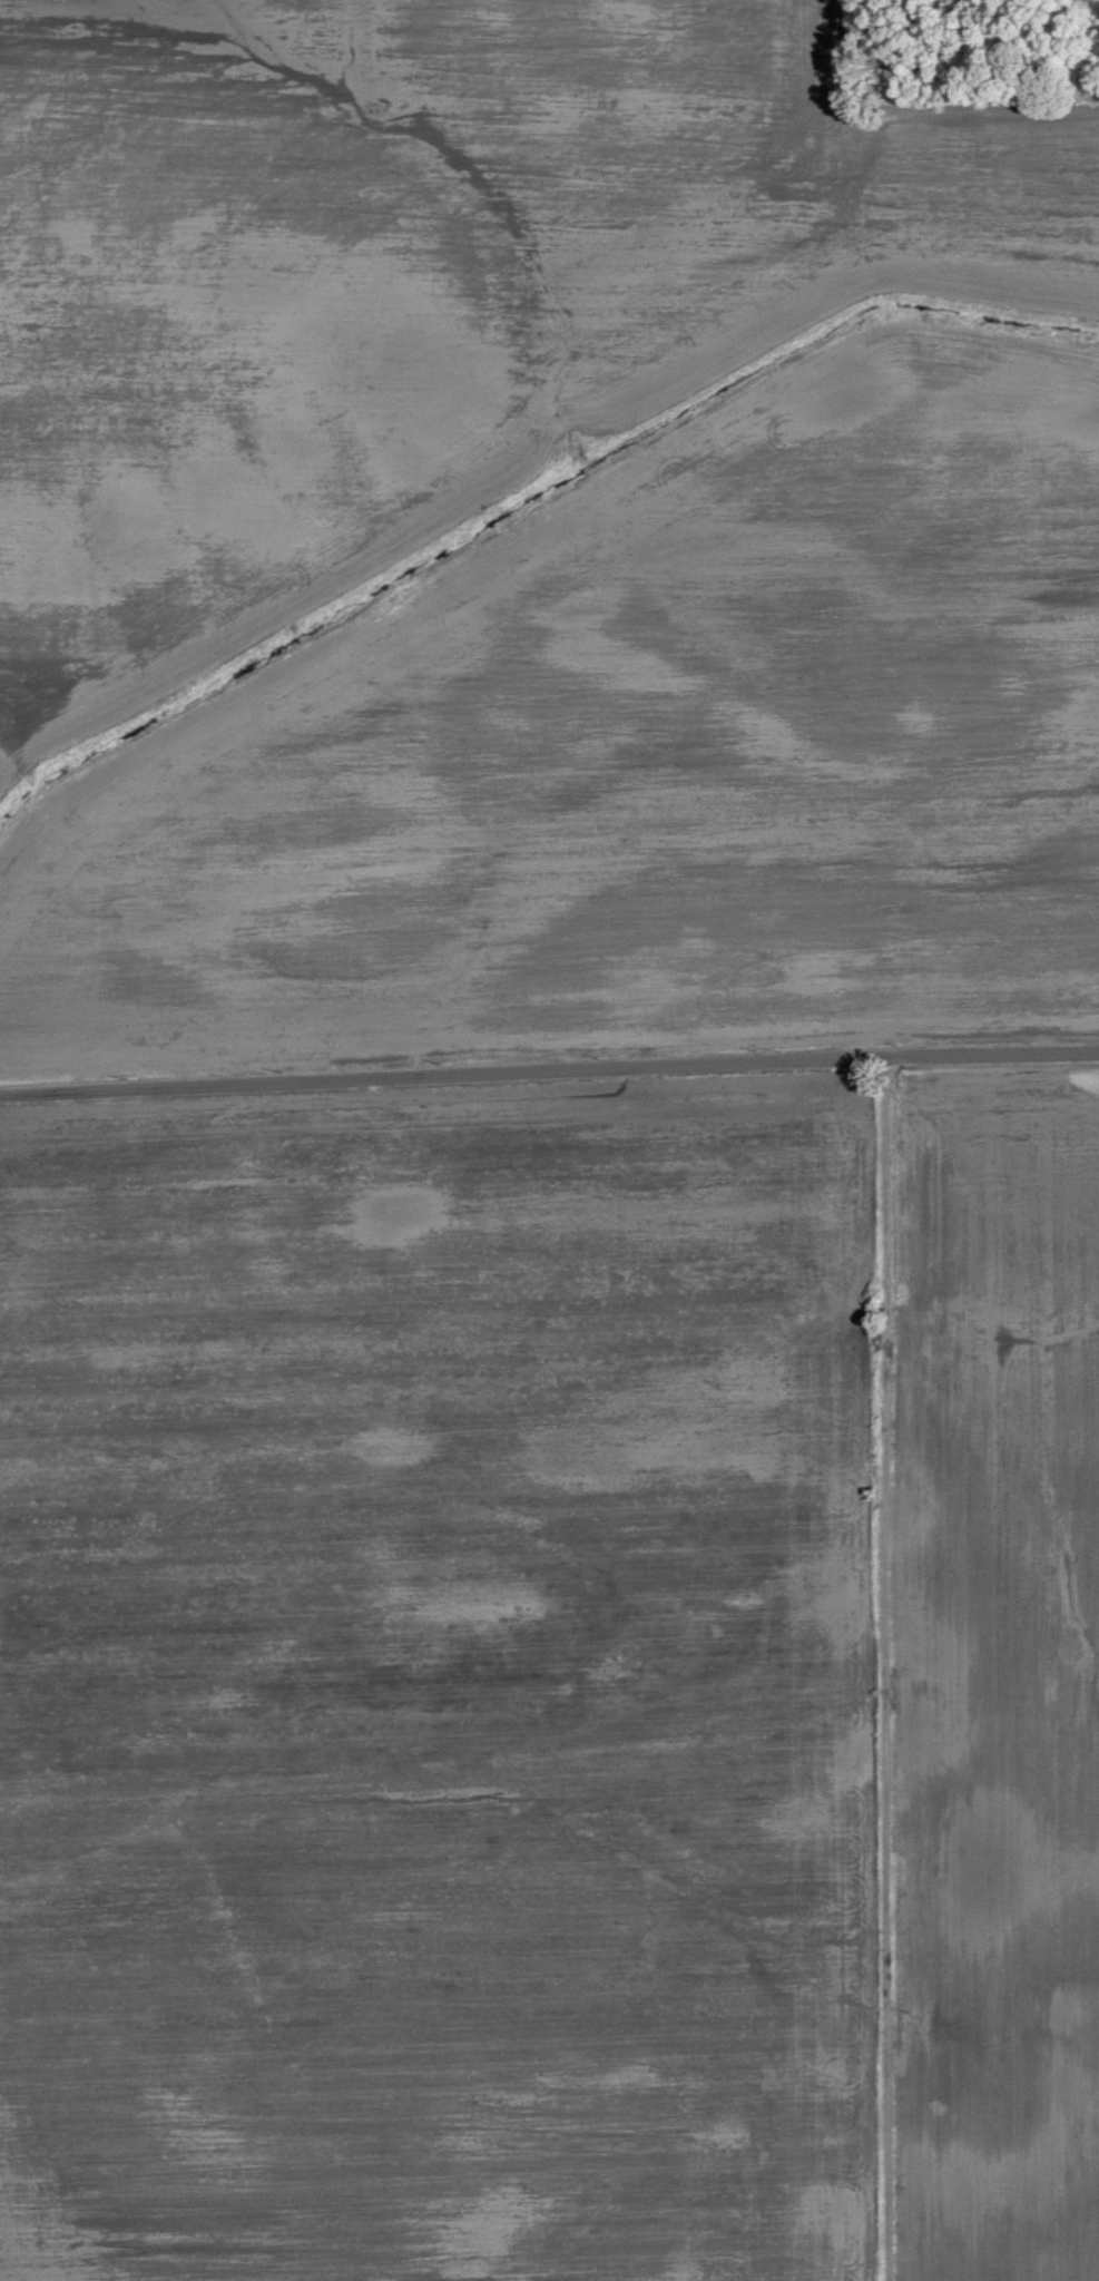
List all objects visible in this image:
road: (549, 1073)
road: (895, 1671)

